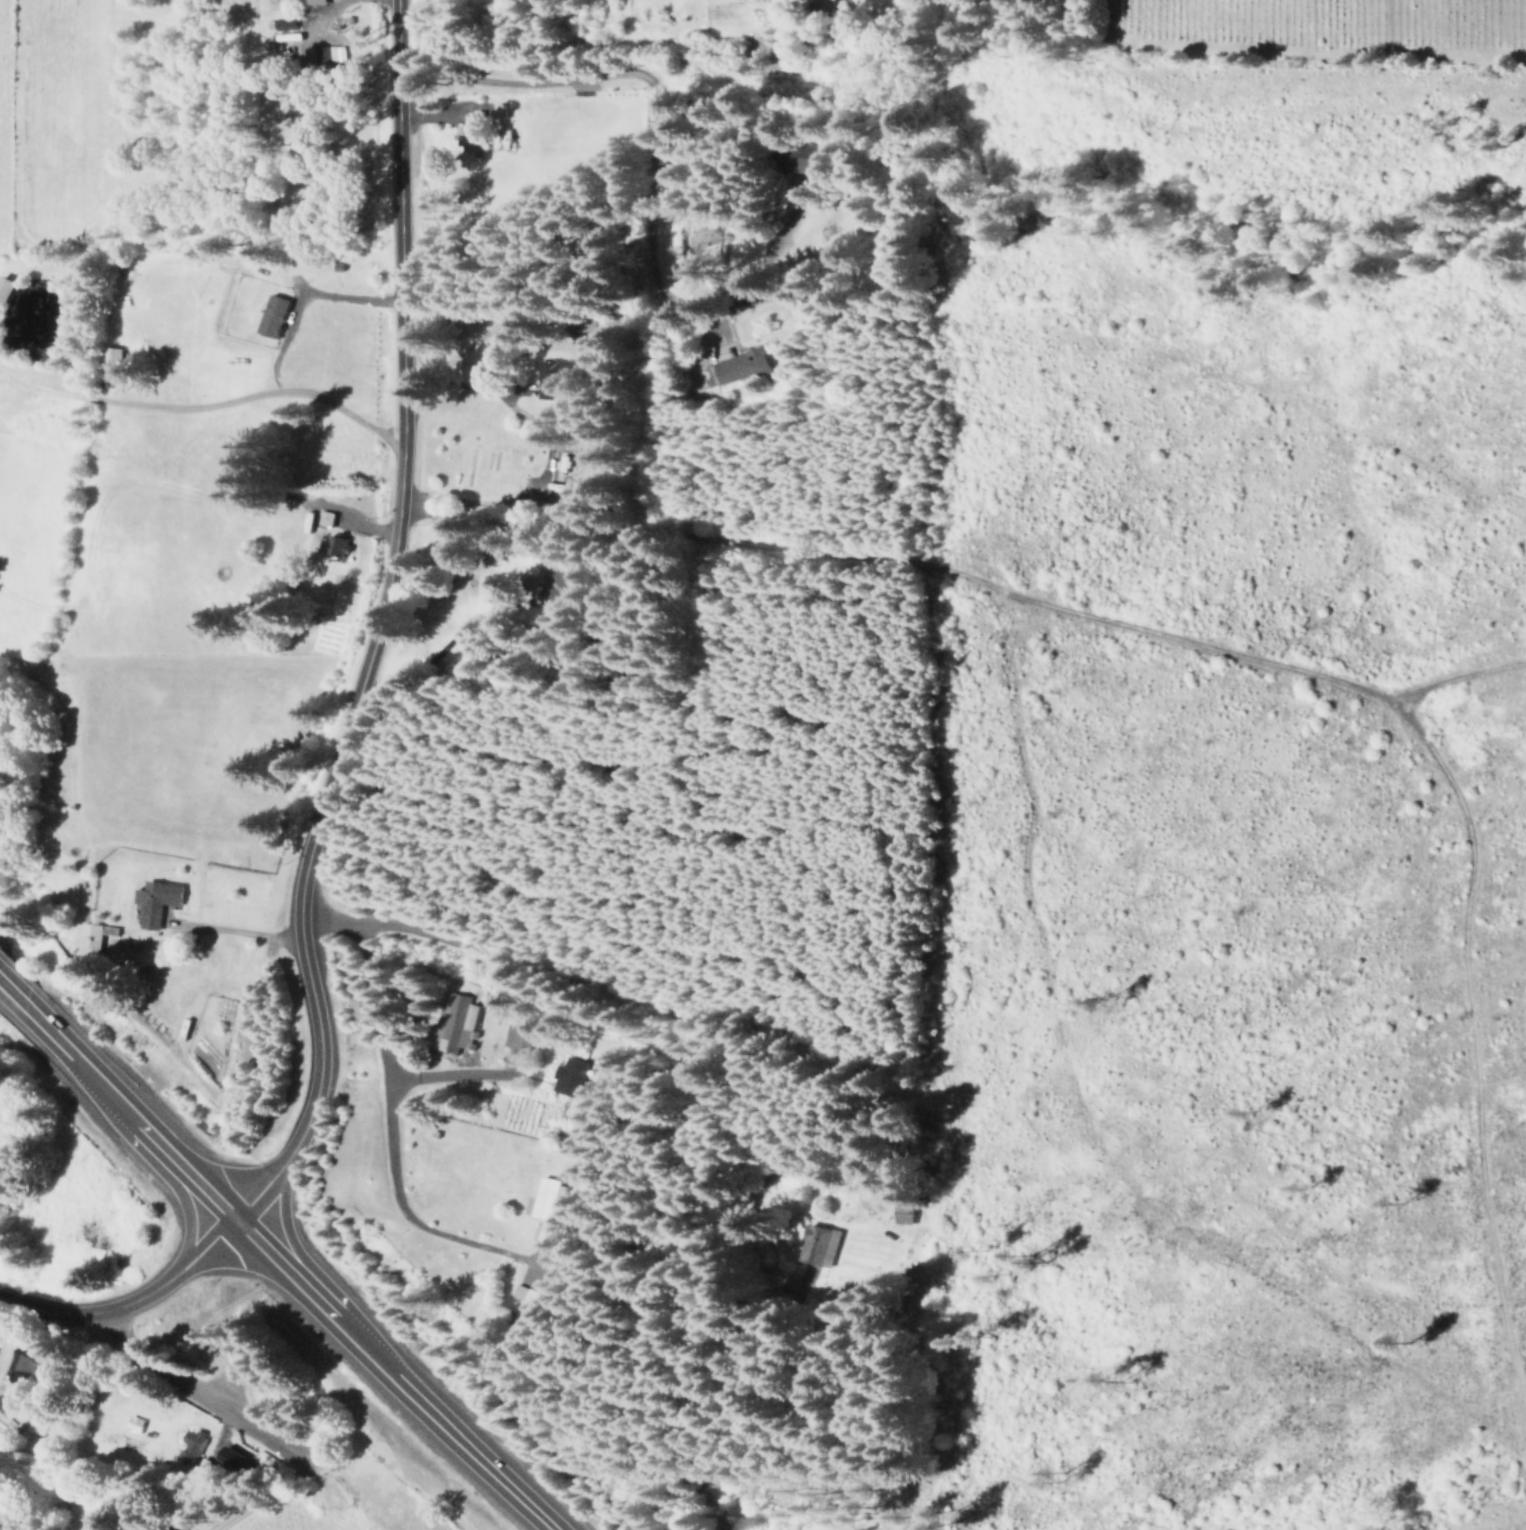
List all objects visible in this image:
building: (315, 2)
building: (282, 23)
building: (333, 53)
road: (520, 86)
building: (470, 132)
building: (806, 158)
road: (670, 280)
building: (6, 288)
building: (272, 316)
building: (115, 355)
building: (738, 366)
building: (556, 377)
building: (327, 518)
building: (339, 545)
building: (564, 587)
road: (335, 628)
road: (379, 752)
building: (158, 901)
building: (92, 938)
building: (457, 1022)
road: (41, 1029)
building: (519, 1037)
road: (669, 1046)
building: (570, 1075)
road: (373, 1079)
road: (1479, 1079)
road: (157, 1149)
building: (545, 1200)
building: (905, 1213)
road: (400, 1215)
building: (824, 1245)
building: (535, 1296)
road: (128, 1303)
building: (27, 1364)
road: (387, 1378)
building: (40, 1420)
building: (191, 1445)
building: (232, 1459)
crop: (285, 1510)

